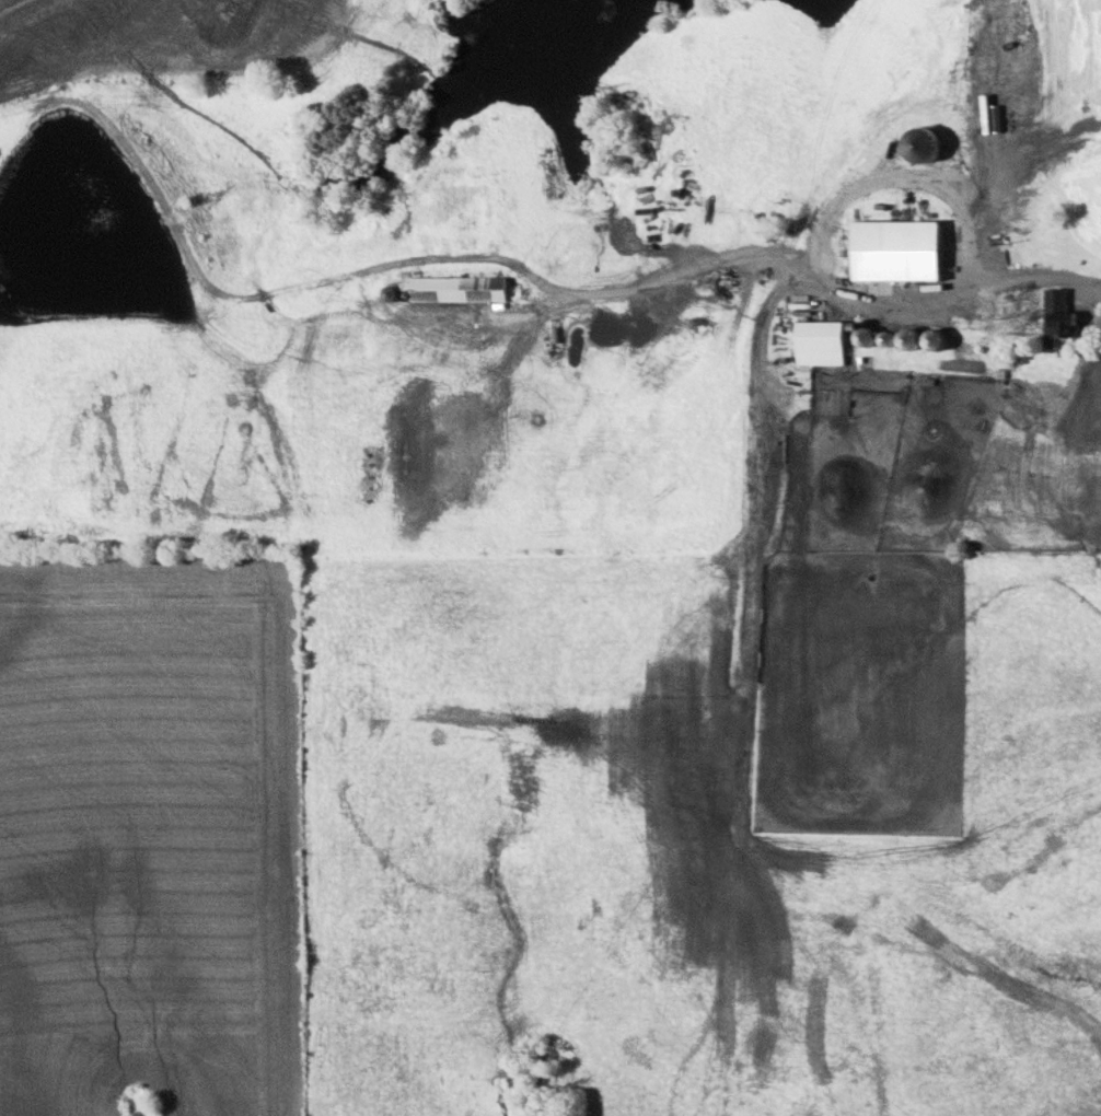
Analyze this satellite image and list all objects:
building: (890, 264)
road: (544, 283)
building: (454, 288)
building: (1056, 316)
building: (818, 336)
building: (862, 336)
building: (906, 338)
crop: (147, 835)

